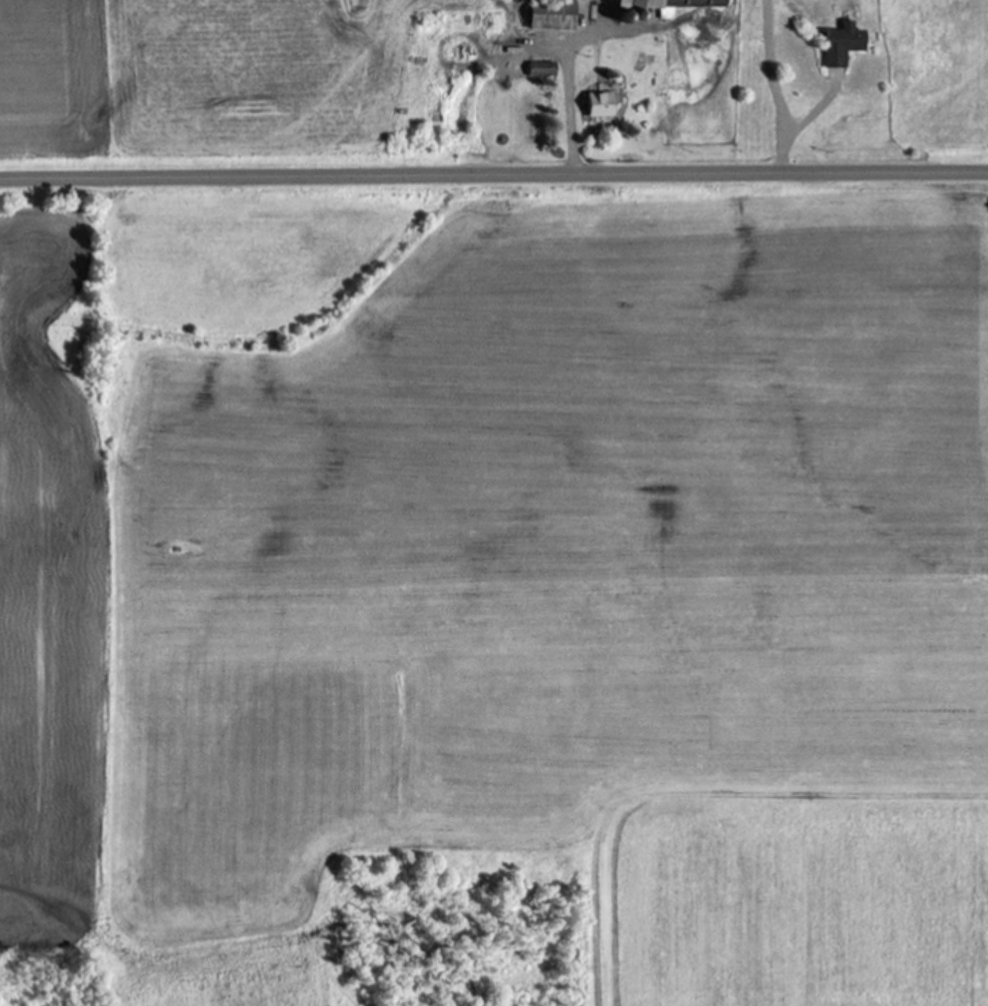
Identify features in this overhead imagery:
building: (656, 5)
building: (549, 14)
building: (840, 44)
building: (540, 69)
road: (568, 75)
building: (596, 104)
road: (494, 190)

